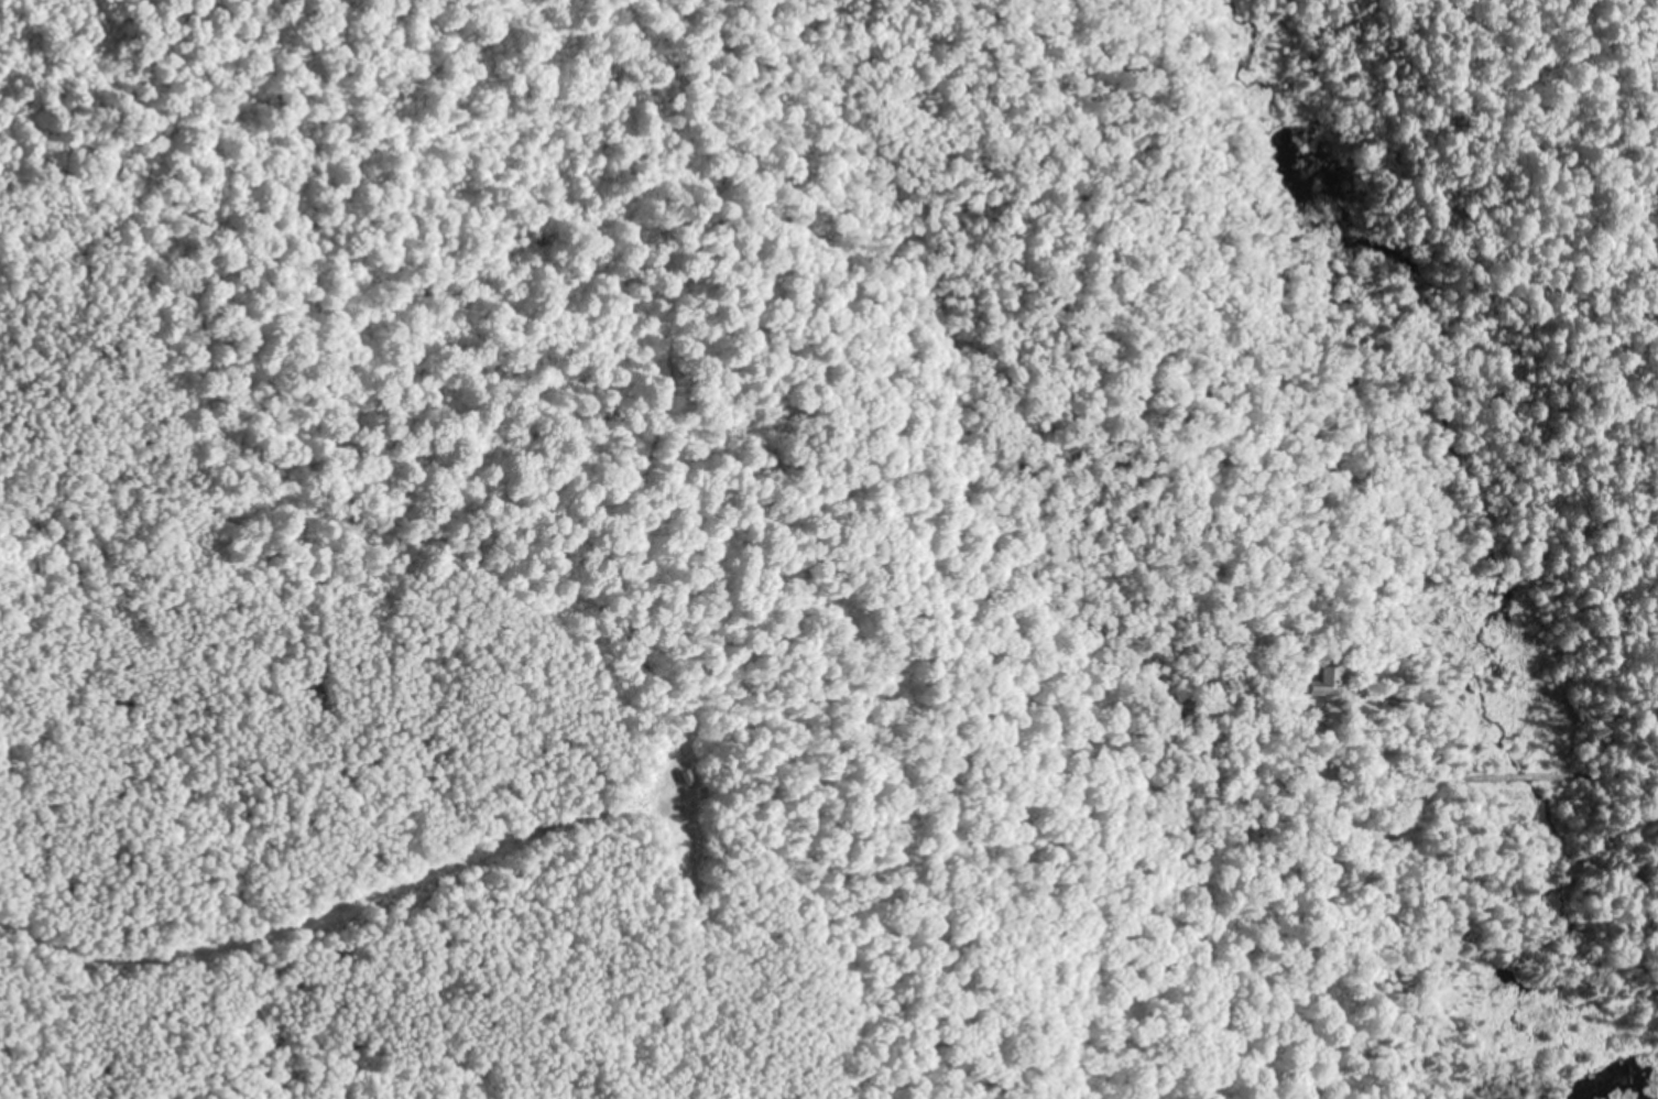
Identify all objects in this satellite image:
building: (1326, 679)
building: (1306, 718)

